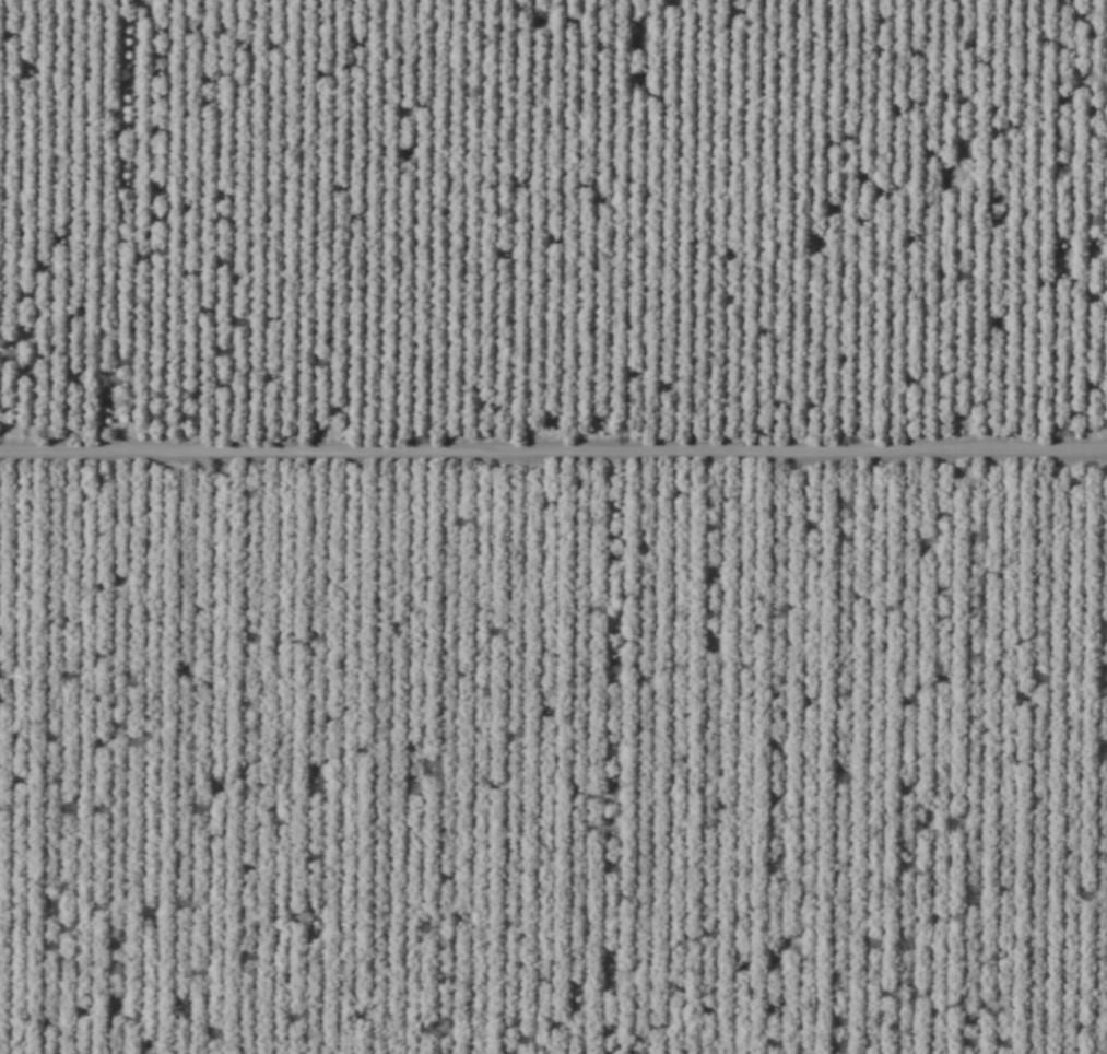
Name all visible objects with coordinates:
road: (553, 421)
crop: (553, 527)

